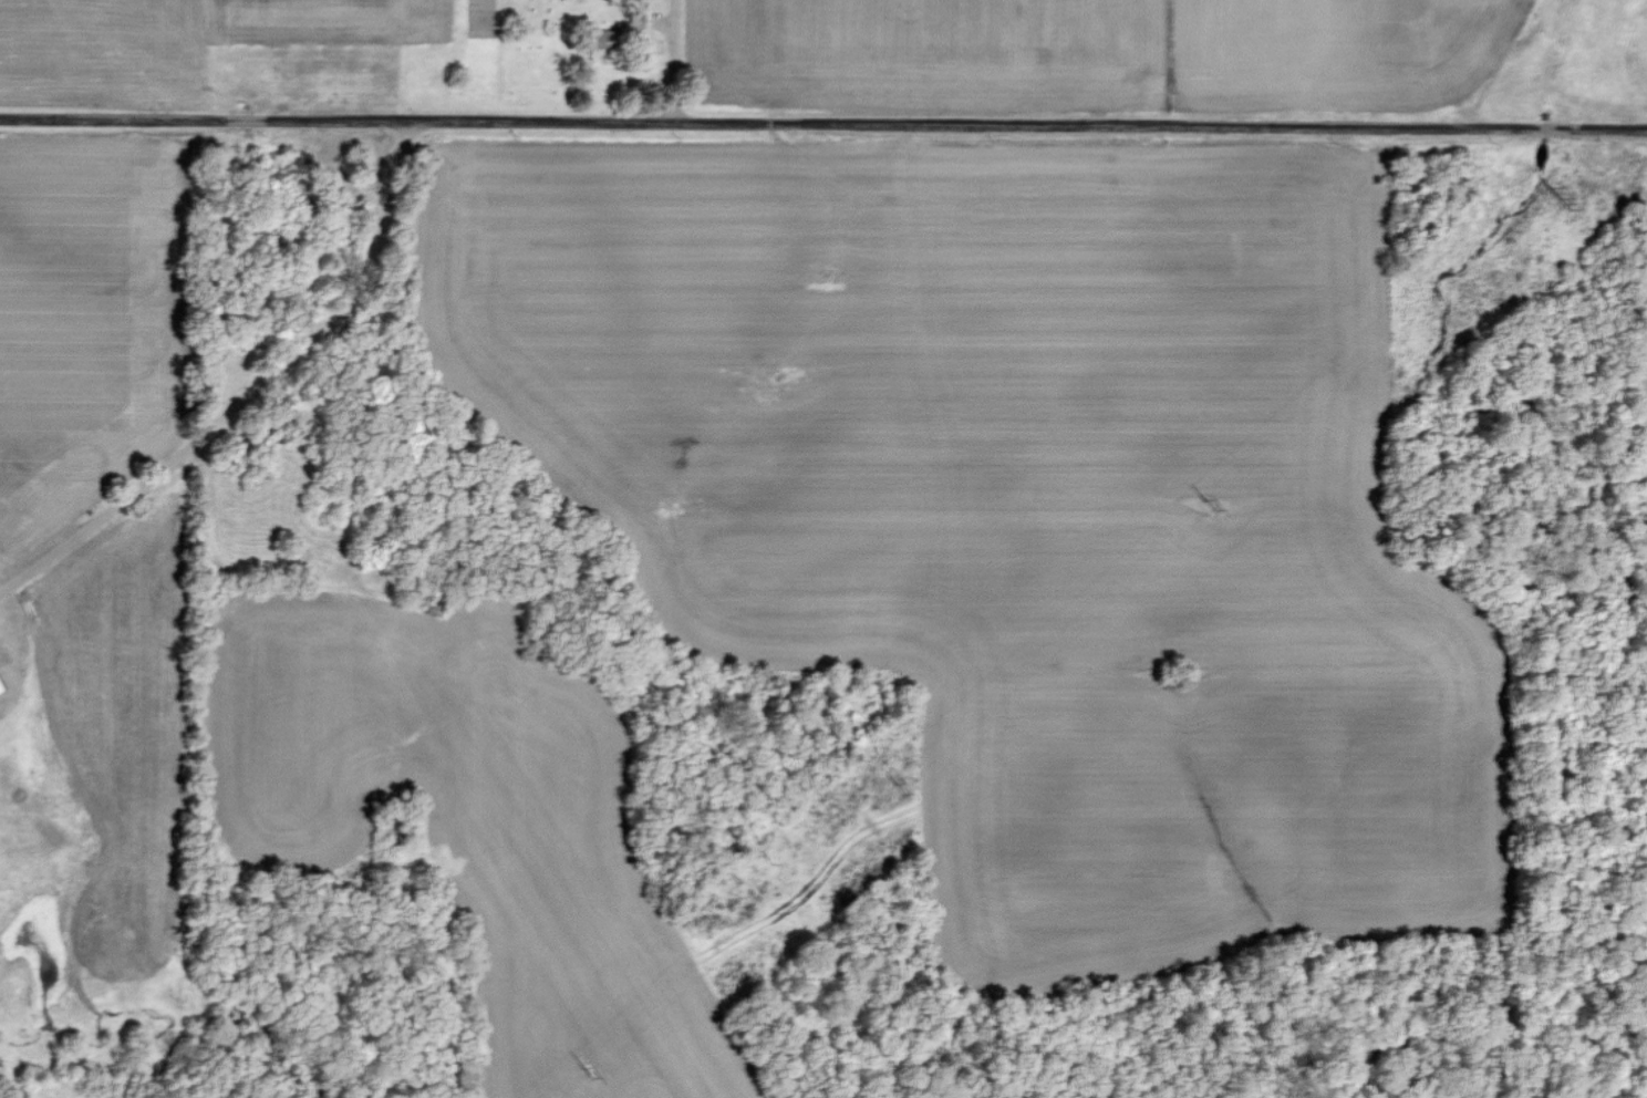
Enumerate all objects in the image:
road: (676, 54)
road: (823, 122)
power tower: (1555, 198)
road: (255, 393)
power tower: (1208, 507)
power tower: (898, 789)
power tower: (584, 1071)

